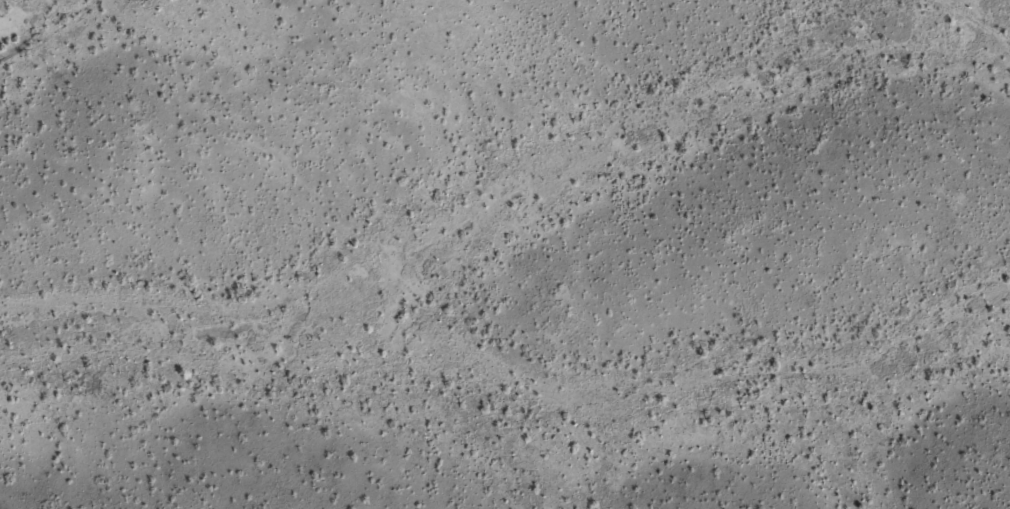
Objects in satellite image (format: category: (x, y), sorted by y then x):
road: (995, 8)

